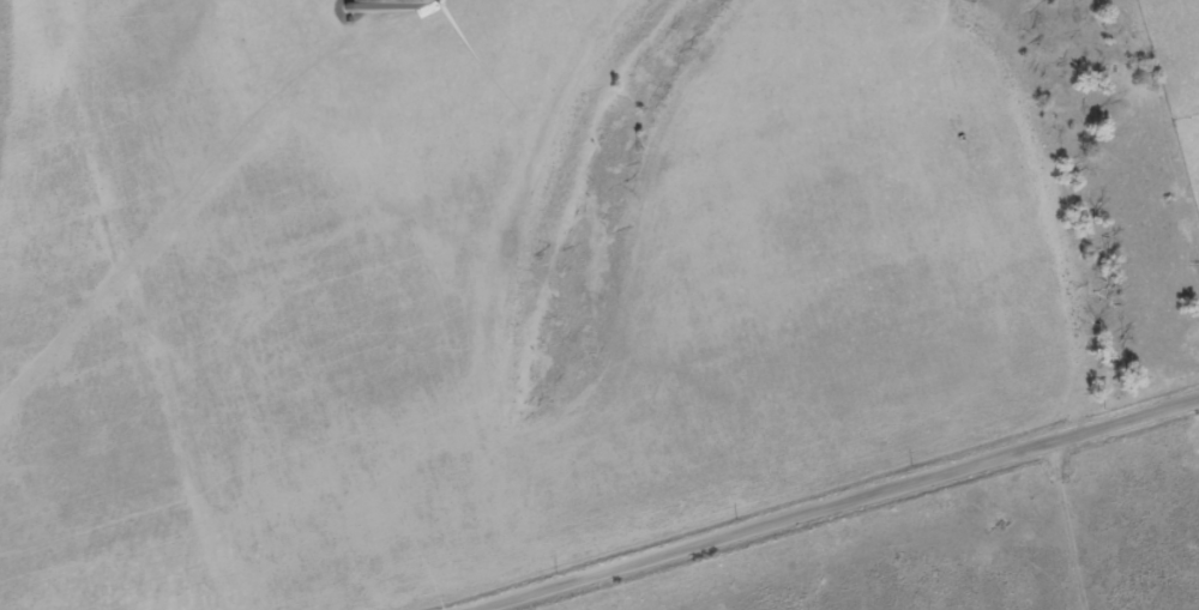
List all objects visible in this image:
wind turbine: (345, 4)
road: (826, 502)
road: (1111, 517)

